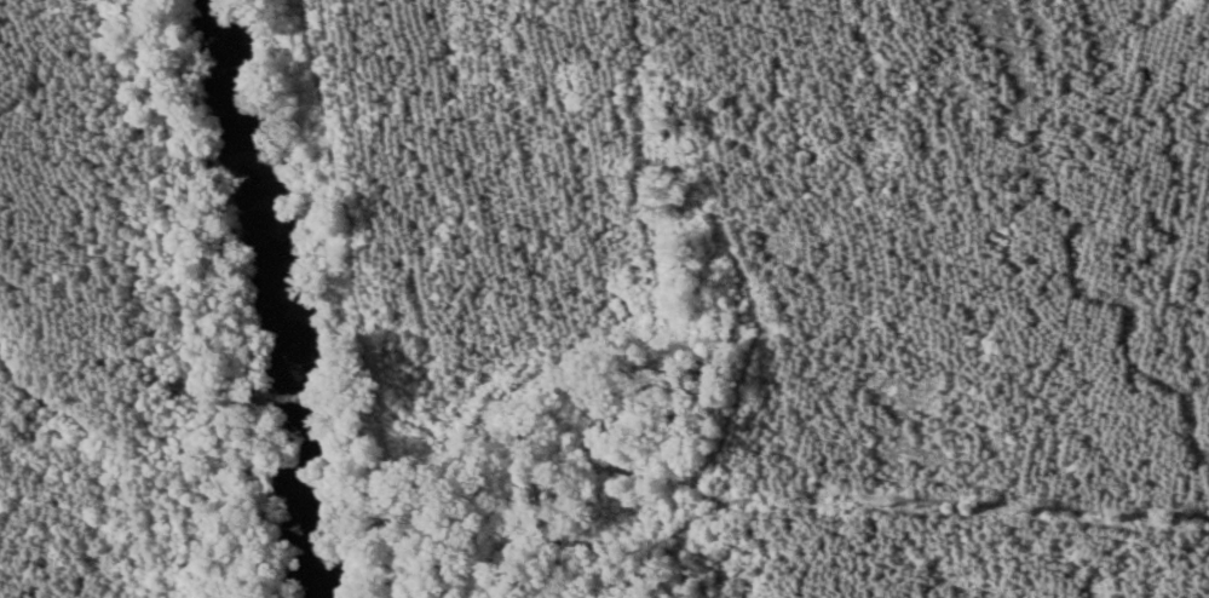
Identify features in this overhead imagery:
river: (278, 299)

